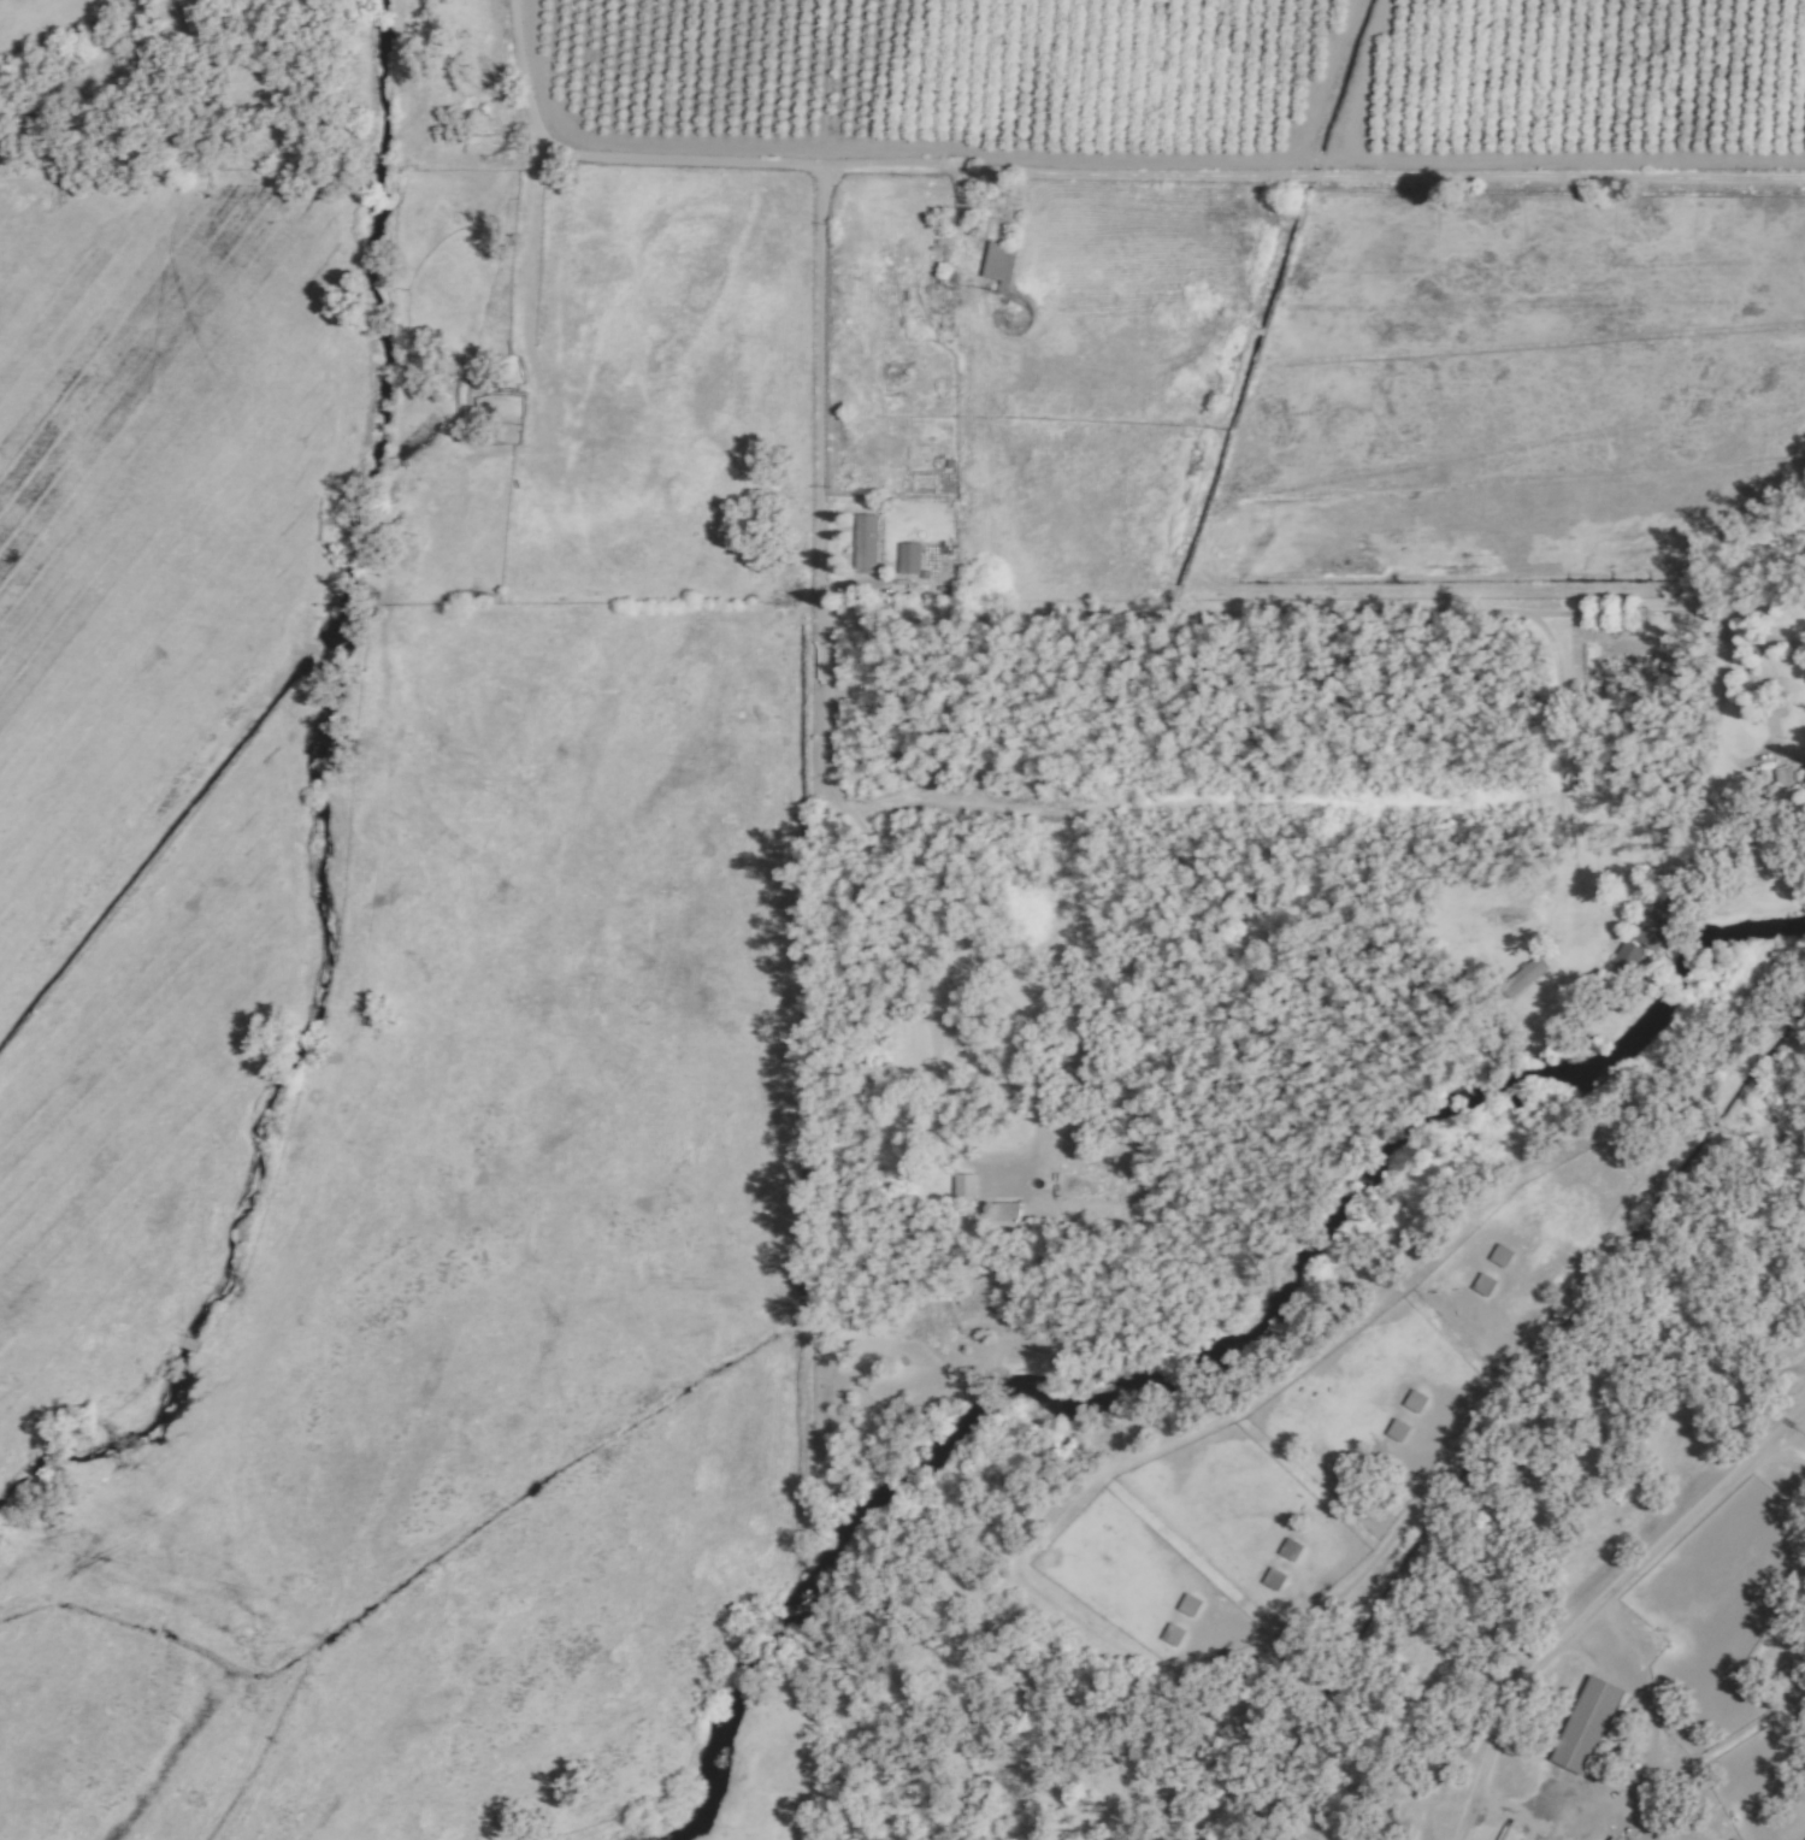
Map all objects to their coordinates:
crop: (48, 23)
crop: (1204, 72)
road: (1107, 171)
road: (541, 246)
building: (997, 264)
crop: (1404, 388)
building: (863, 539)
building: (906, 558)
road: (1113, 618)
crop: (146, 721)
road: (1558, 756)
road: (824, 759)
building: (943, 767)
building: (1652, 922)
building: (1626, 957)
crop: (500, 1138)
building: (1396, 1431)
road: (1594, 1606)
building: (1170, 1635)
building: (1585, 1723)
road: (1651, 1729)
crop: (863, 1741)
building: (1605, 1838)

